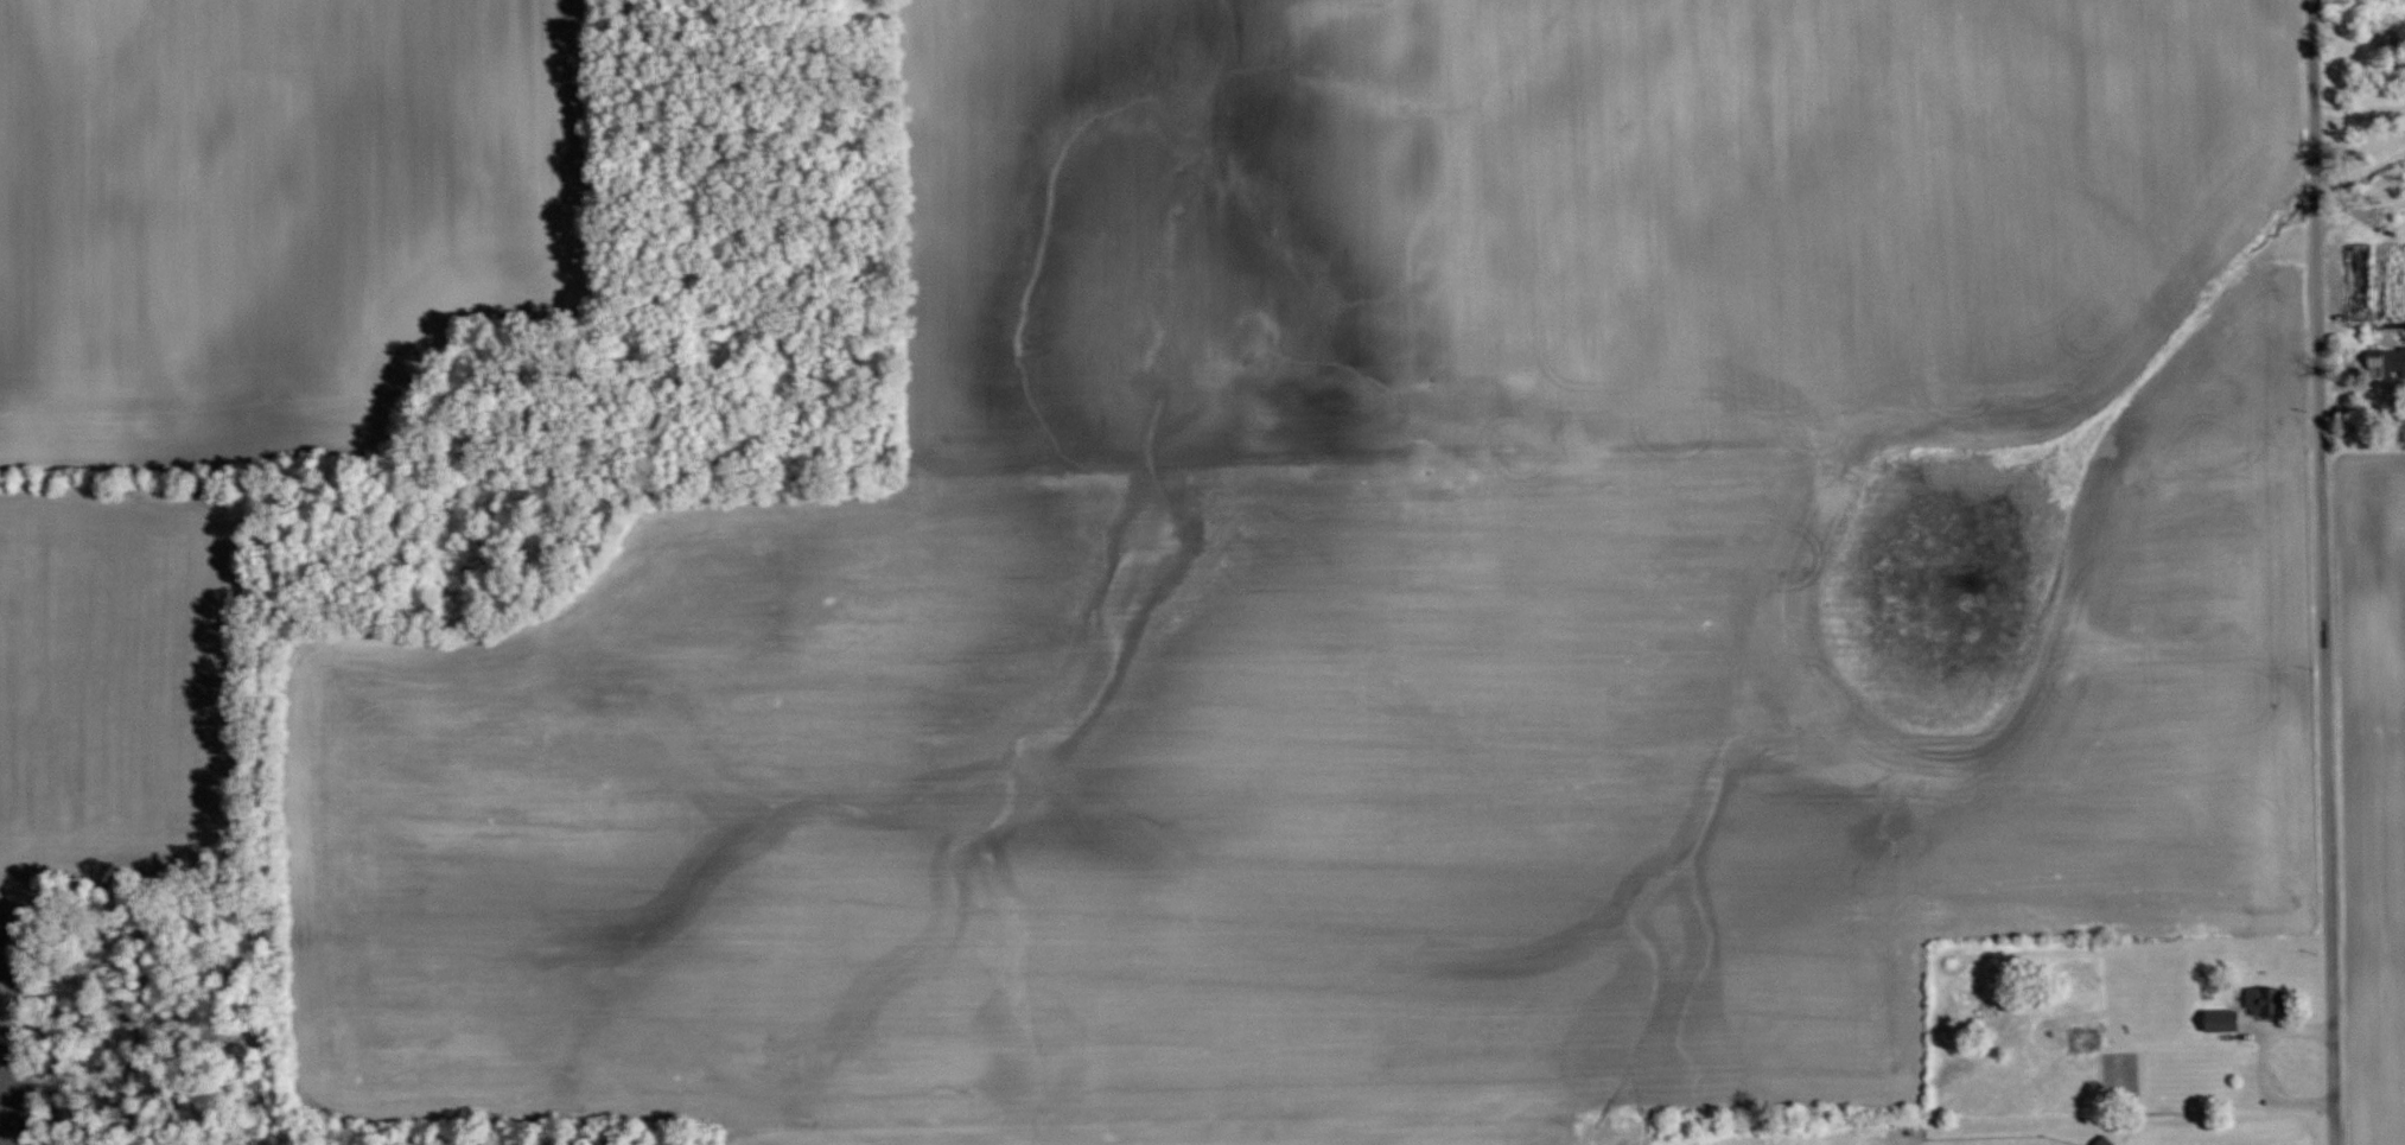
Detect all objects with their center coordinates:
road: (2359, 112)
building: (2358, 281)
building: (2388, 362)
road: (2321, 572)
building: (2263, 998)
building: (2220, 1018)
building: (2082, 1039)
building: (2102, 1140)

